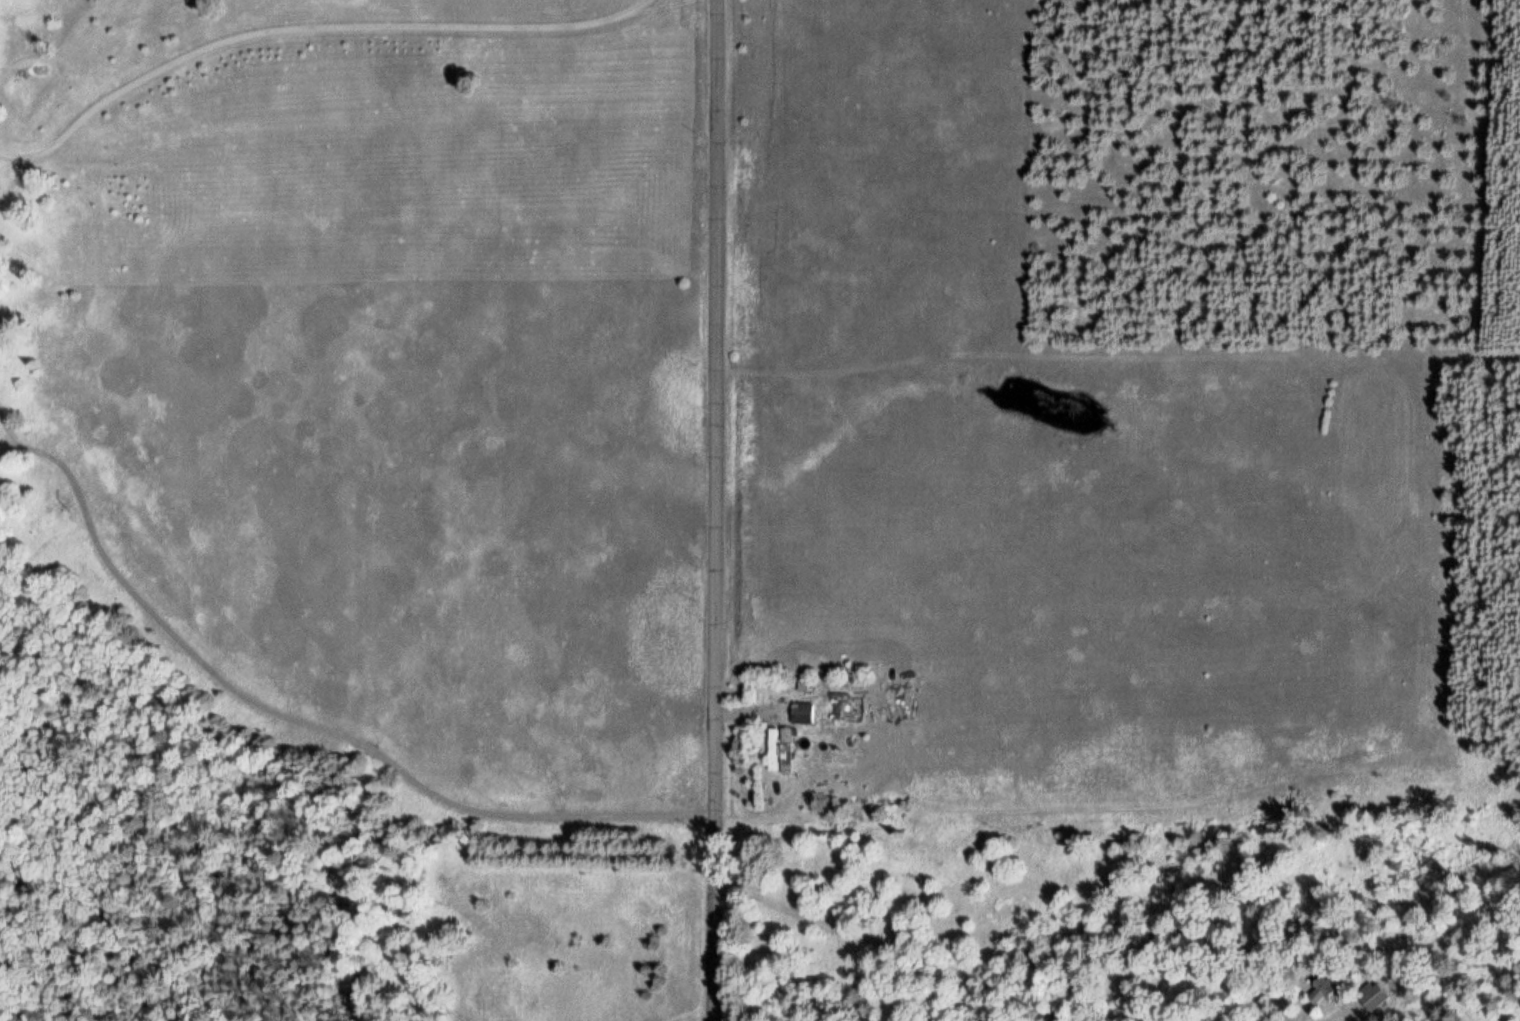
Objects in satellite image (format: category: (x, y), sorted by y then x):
road: (716, 510)
building: (799, 713)
building: (784, 750)
building: (1323, 986)
building: (1371, 994)

